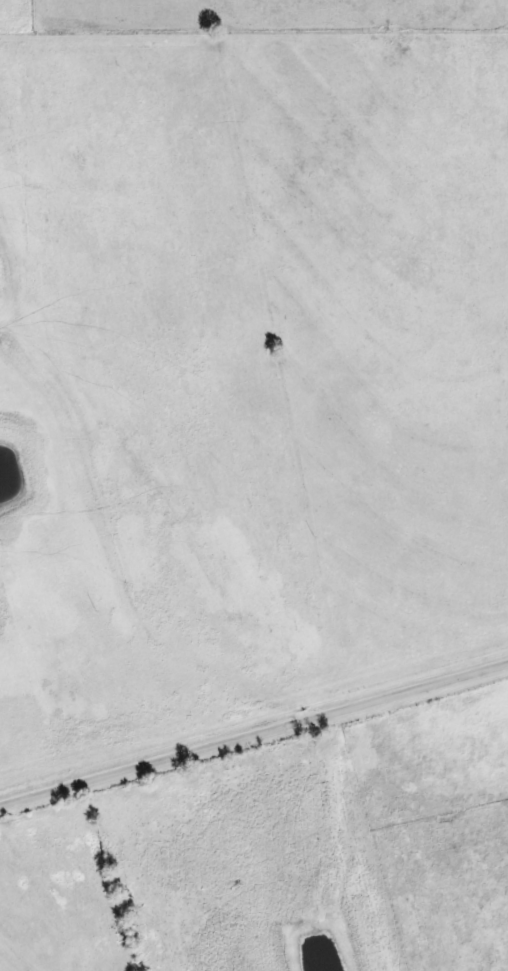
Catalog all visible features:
road: (254, 732)

